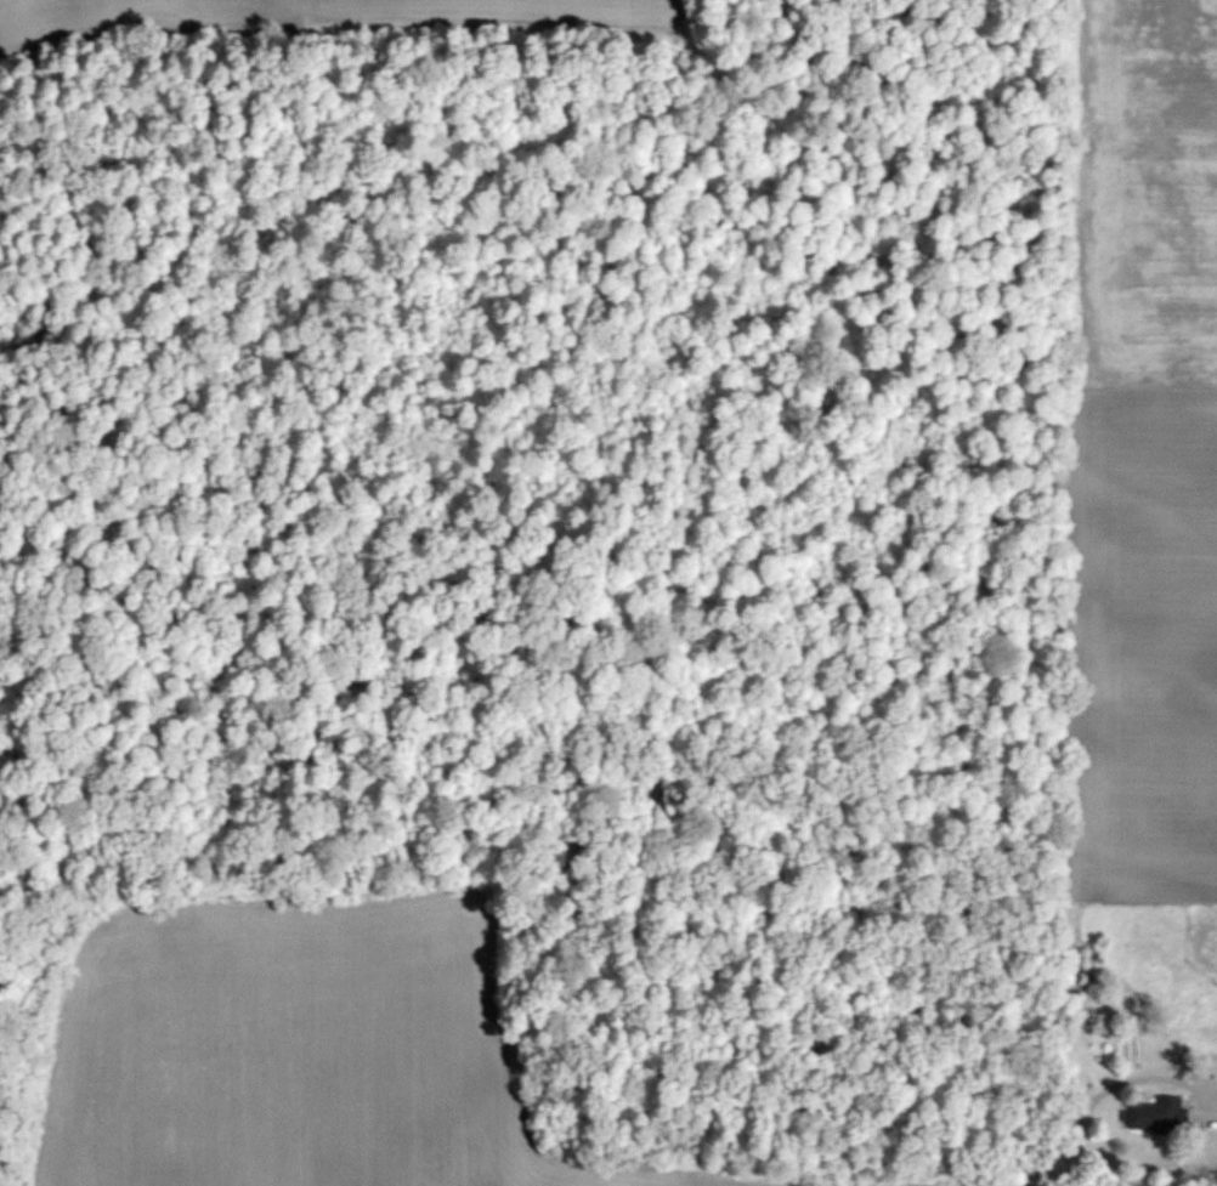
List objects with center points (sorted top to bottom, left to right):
road: (1100, 1088)
building: (1155, 1114)

